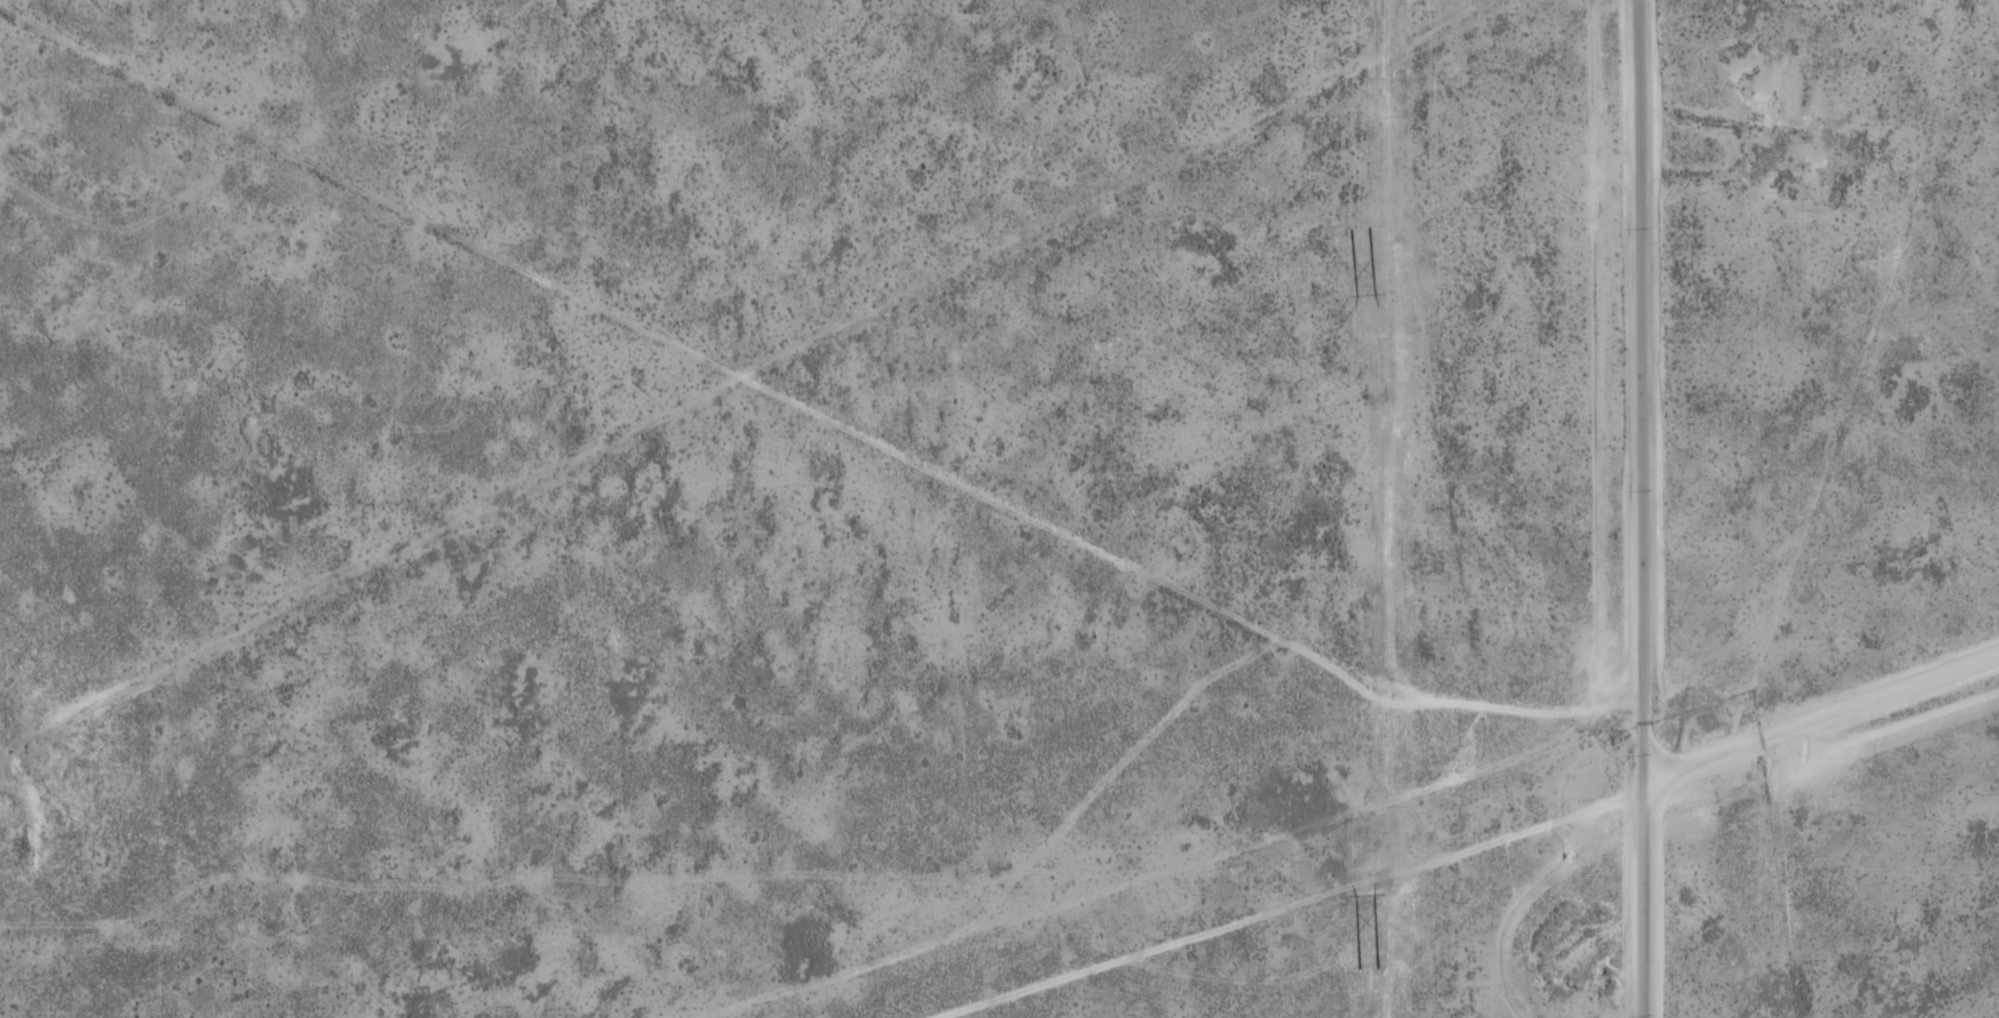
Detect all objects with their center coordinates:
road: (820, 447)
road: (1641, 508)
road: (1821, 715)

